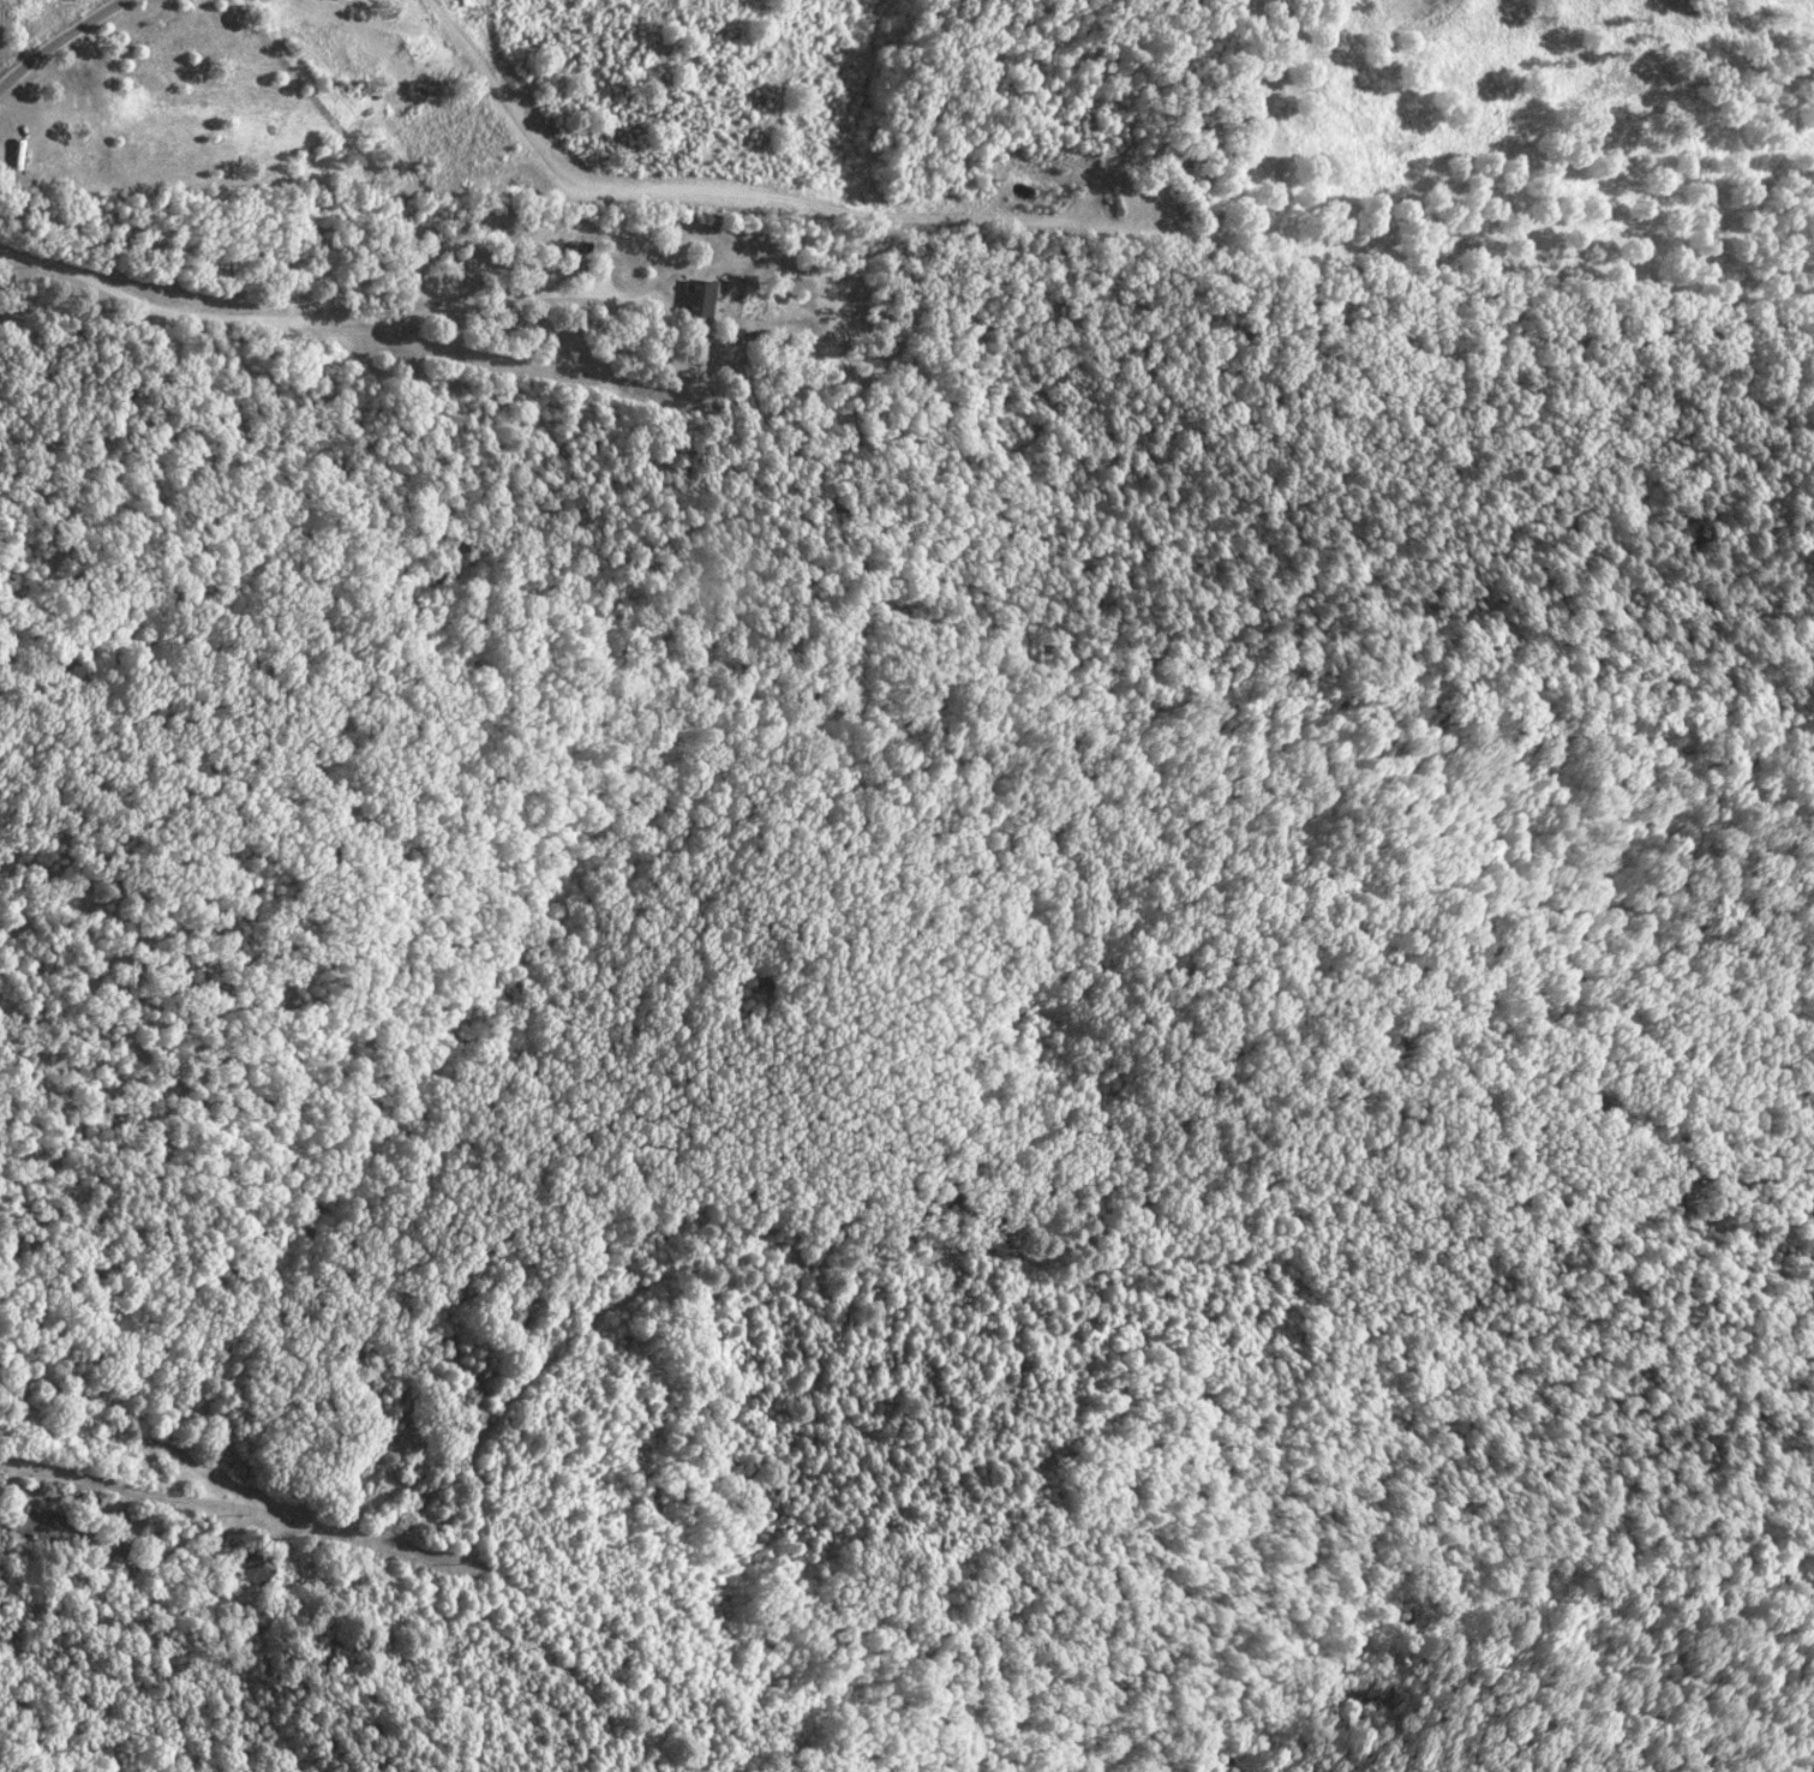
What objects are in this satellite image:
road: (62, 41)
building: (695, 298)
road: (173, 1498)
building: (38, 1523)
building: (253, 1573)

